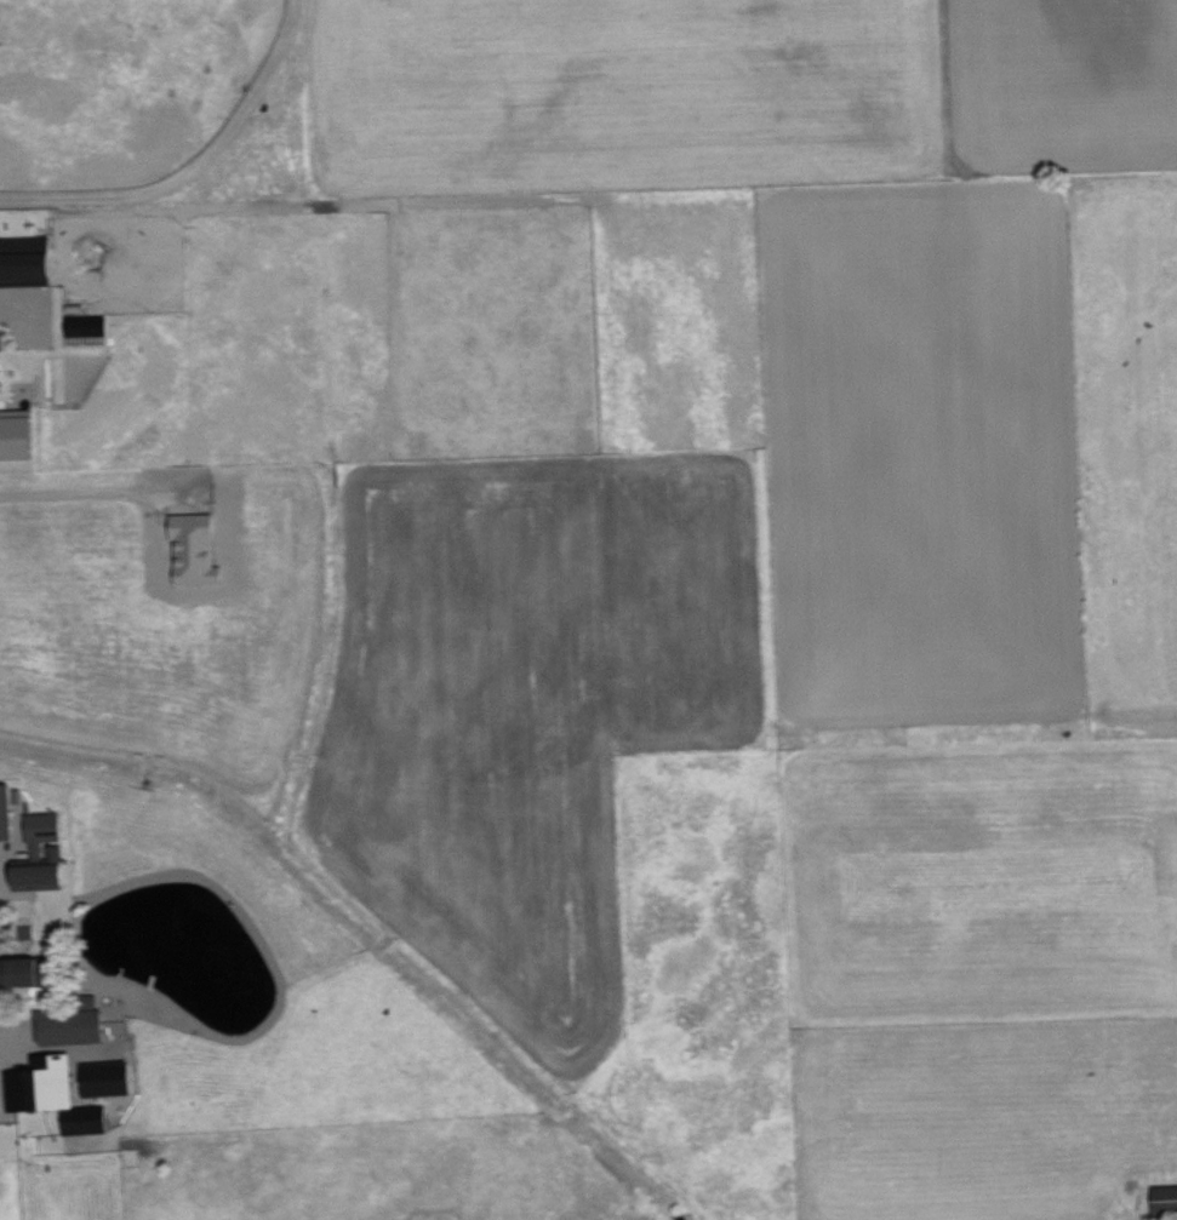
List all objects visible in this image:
road: (192, 167)
building: (29, 263)
building: (88, 325)
building: (1, 362)
building: (18, 435)
building: (6, 812)
building: (44, 853)
building: (25, 930)
building: (23, 970)
building: (73, 1024)
building: (104, 1078)
building: (42, 1083)
building: (87, 1126)
building: (1166, 1198)

